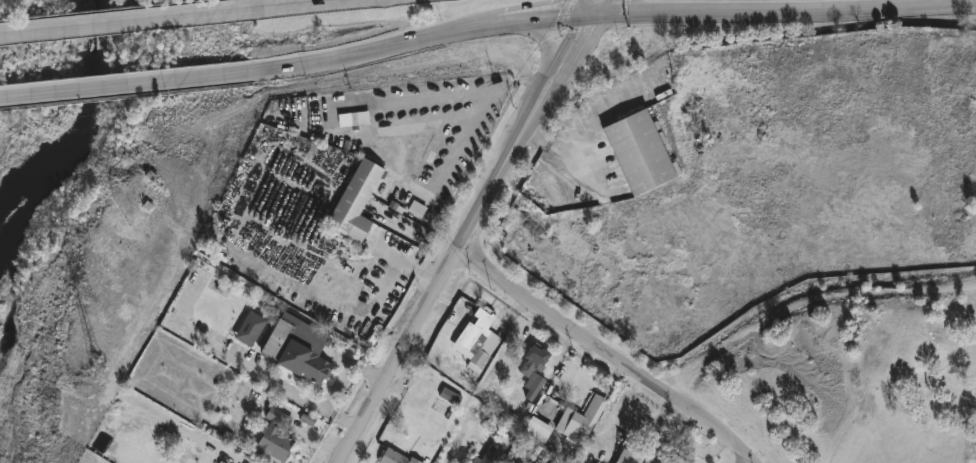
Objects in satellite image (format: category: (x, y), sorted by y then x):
road: (333, 5)
road: (774, 16)
road: (190, 18)
road: (536, 24)
road: (51, 30)
road: (546, 38)
road: (561, 43)
road: (581, 48)
road: (379, 57)
road: (144, 85)
road: (16, 95)
road: (459, 95)
road: (468, 136)
building: (640, 152)
road: (562, 156)
building: (356, 202)
road: (397, 254)
road: (443, 277)
power tower: (86, 292)
building: (252, 329)
building: (481, 337)
building: (298, 348)
road: (609, 352)
building: (536, 357)
power tower: (99, 369)
road: (281, 384)
building: (535, 385)
building: (582, 419)
building: (546, 433)
building: (275, 436)
building: (491, 454)
building: (396, 457)
building: (641, 457)
building: (677, 460)

